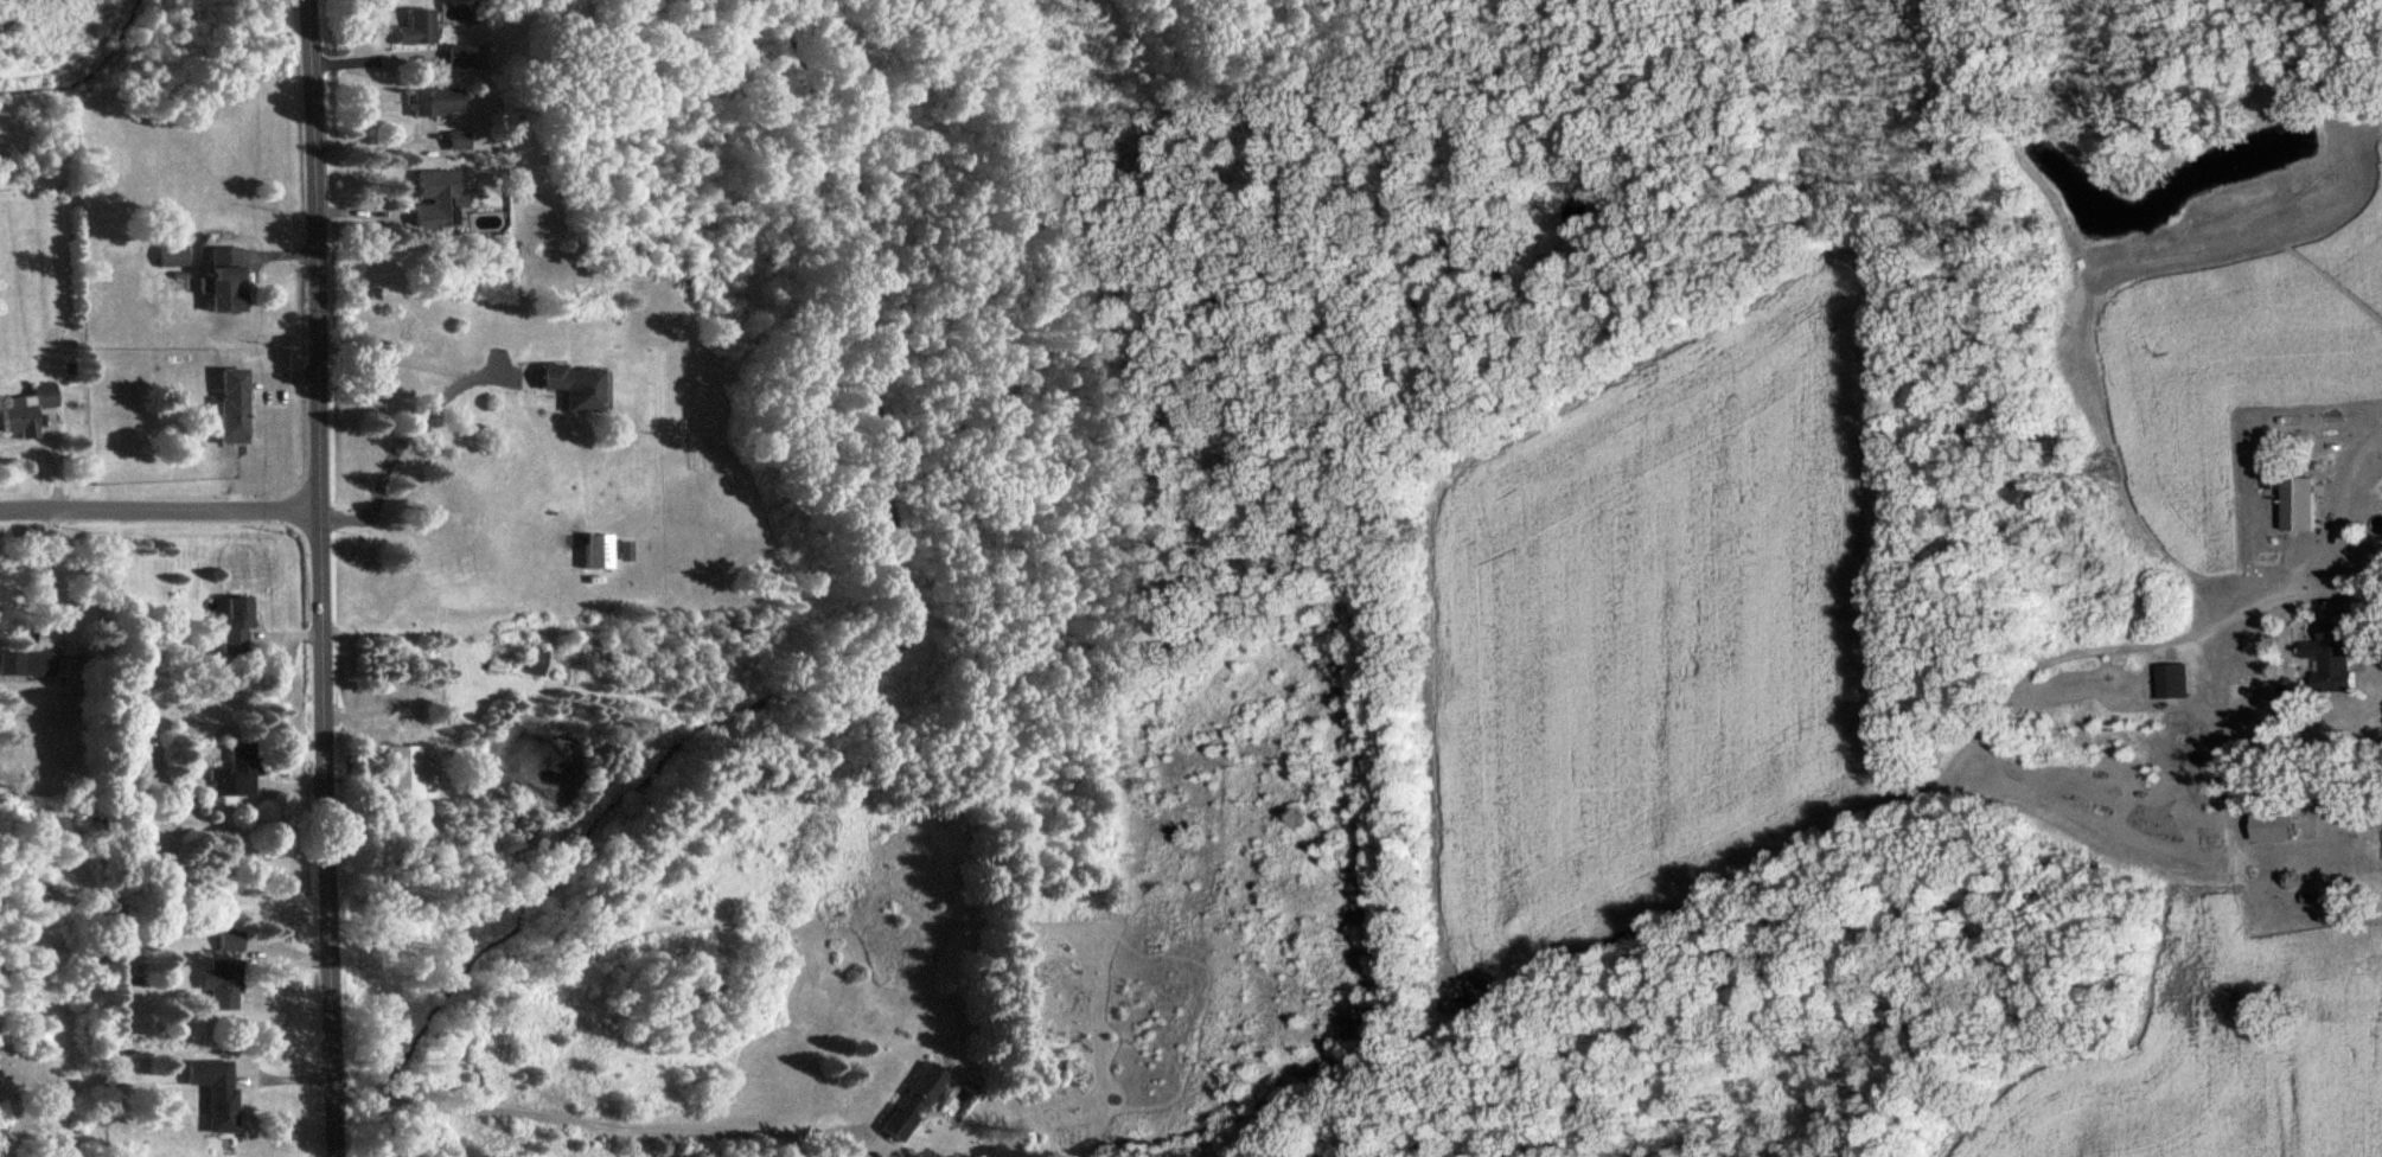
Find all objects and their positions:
building: (408, 26)
building: (451, 53)
road: (371, 58)
building: (426, 100)
building: (447, 140)
building: (424, 199)
building: (170, 254)
building: (218, 279)
building: (40, 394)
building: (226, 404)
building: (17, 415)
road: (398, 439)
building: (2295, 501)
road: (154, 509)
road: (2320, 531)
building: (590, 549)
building: (618, 549)
road: (47, 573)
road: (312, 578)
building: (230, 622)
building: (2330, 653)
building: (530, 659)
building: (24, 661)
building: (2170, 678)
building: (231, 771)
building: (403, 771)
building: (2272, 829)
building: (225, 938)
building: (216, 983)
crop: (2216, 1051)
building: (210, 1091)
building: (907, 1100)
road: (587, 1120)

